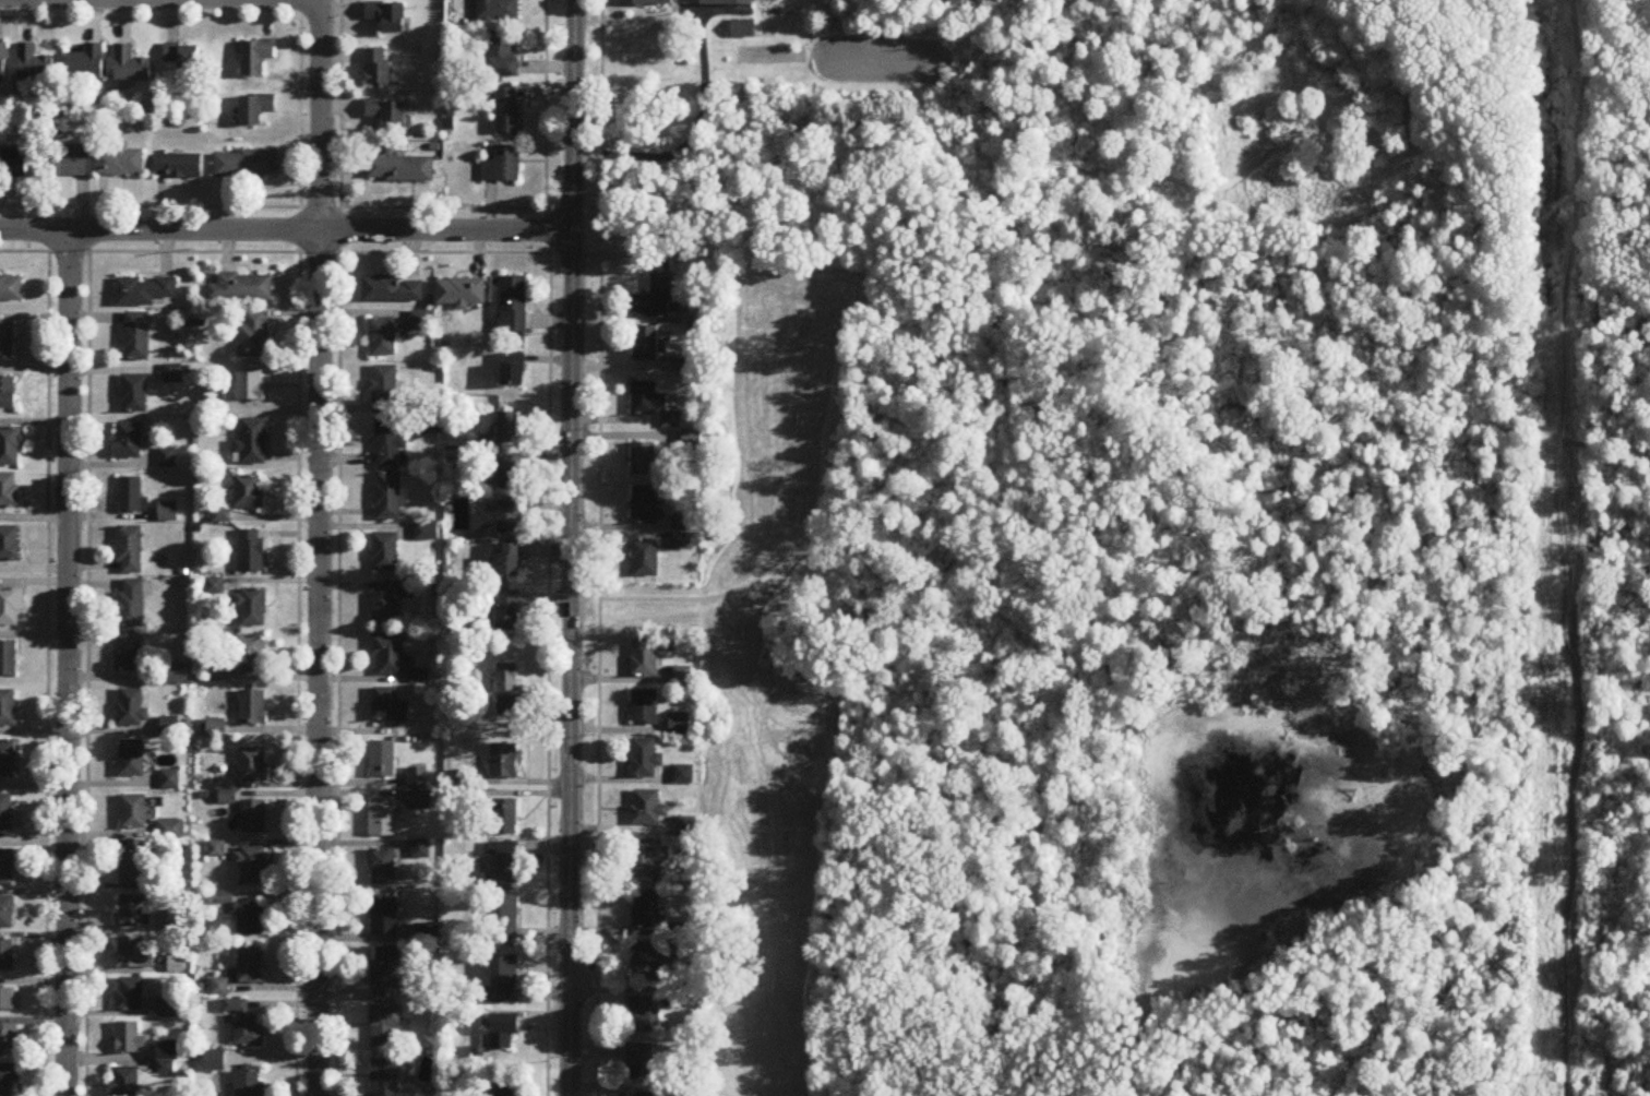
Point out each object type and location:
building: (656, 3)
building: (732, 3)
building: (498, 11)
road: (150, 17)
building: (388, 19)
building: (742, 31)
building: (184, 58)
building: (258, 58)
building: (502, 58)
building: (3, 65)
building: (87, 65)
building: (35, 67)
building: (131, 69)
building: (379, 69)
road: (299, 104)
road: (339, 104)
building: (256, 110)
building: (507, 112)
road: (319, 115)
building: (387, 115)
road: (685, 138)
building: (64, 163)
building: (120, 163)
building: (11, 164)
building: (179, 167)
building: (246, 167)
building: (502, 167)
building: (400, 170)
road: (272, 207)
road: (286, 230)
road: (274, 247)
building: (242, 288)
building: (11, 289)
building: (393, 289)
building: (145, 291)
building: (461, 293)
building: (656, 298)
building: (513, 303)
building: (420, 321)
building: (252, 336)
building: (136, 337)
building: (382, 337)
building: (7, 342)
building: (646, 344)
road: (294, 352)
road: (81, 354)
building: (686, 367)
building: (514, 370)
building: (250, 385)
building: (384, 390)
building: (8, 394)
building: (134, 394)
building: (646, 400)
building: (670, 420)
building: (509, 429)
building: (128, 441)
building: (252, 442)
building: (388, 443)
building: (691, 443)
building: (10, 448)
building: (643, 460)
building: (511, 473)
building: (9, 491)
building: (249, 492)
building: (130, 497)
building: (387, 497)
road: (1205, 498)
building: (645, 507)
building: (168, 513)
building: (511, 516)
building: (682, 523)
building: (682, 541)
building: (9, 544)
road: (548, 547)
road: (572, 547)
road: (598, 547)
building: (129, 551)
building: (384, 551)
building: (251, 552)
building: (645, 559)
building: (511, 560)
road: (706, 598)
building: (390, 603)
building: (130, 606)
building: (9, 607)
building: (252, 608)
building: (509, 610)
road: (1090, 640)
park: (1184, 643)
building: (128, 653)
building: (250, 655)
building: (390, 655)
building: (644, 658)
building: (8, 659)
road: (1575, 662)
road: (68, 663)
road: (320, 663)
road: (44, 670)
road: (337, 672)
building: (682, 676)
building: (507, 677)
building: (507, 705)
building: (253, 707)
building: (387, 707)
building: (645, 707)
building: (8, 708)
building: (131, 708)
road: (1124, 717)
building: (680, 724)
building: (171, 728)
building: (8, 759)
building: (645, 759)
building: (131, 760)
building: (382, 761)
building: (505, 762)
building: (252, 765)
building: (683, 775)
road: (296, 776)
road: (84, 777)
building: (417, 779)
building: (169, 781)
building: (227, 798)
building: (647, 809)
building: (7, 813)
building: (133, 813)
building: (253, 818)
building: (506, 818)
building: (382, 819)
building: (685, 827)
building: (169, 831)
building: (647, 861)
building: (505, 863)
building: (252, 866)
building: (7, 869)
building: (133, 869)
building: (382, 869)
building: (646, 912)
building: (132, 913)
building: (7, 914)
building: (384, 918)
building: (249, 920)
building: (506, 920)
building: (133, 955)
building: (5, 956)
building: (655, 961)
building: (176, 966)
building: (250, 966)
building: (385, 967)
building: (504, 980)
building: (129, 994)
building: (8, 1000)
building: (167, 1008)
building: (641, 1015)
building: (244, 1025)
building: (386, 1026)
building: (503, 1032)
building: (129, 1038)
building: (8, 1041)
building: (168, 1051)
building: (214, 1062)
building: (641, 1062)
building: (385, 1077)
building: (8, 1080)
building: (123, 1082)
building: (249, 1084)
building: (507, 1091)
building: (644, 1095)

